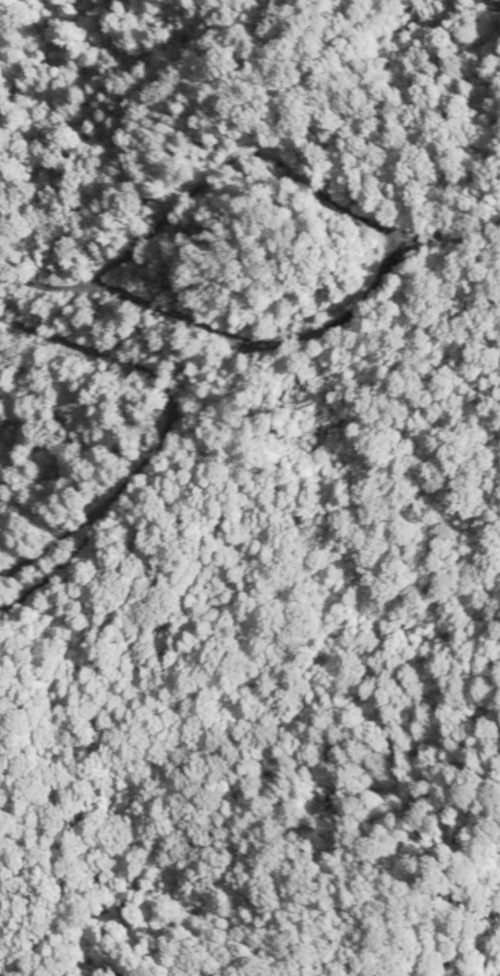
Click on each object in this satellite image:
road: (137, 445)

